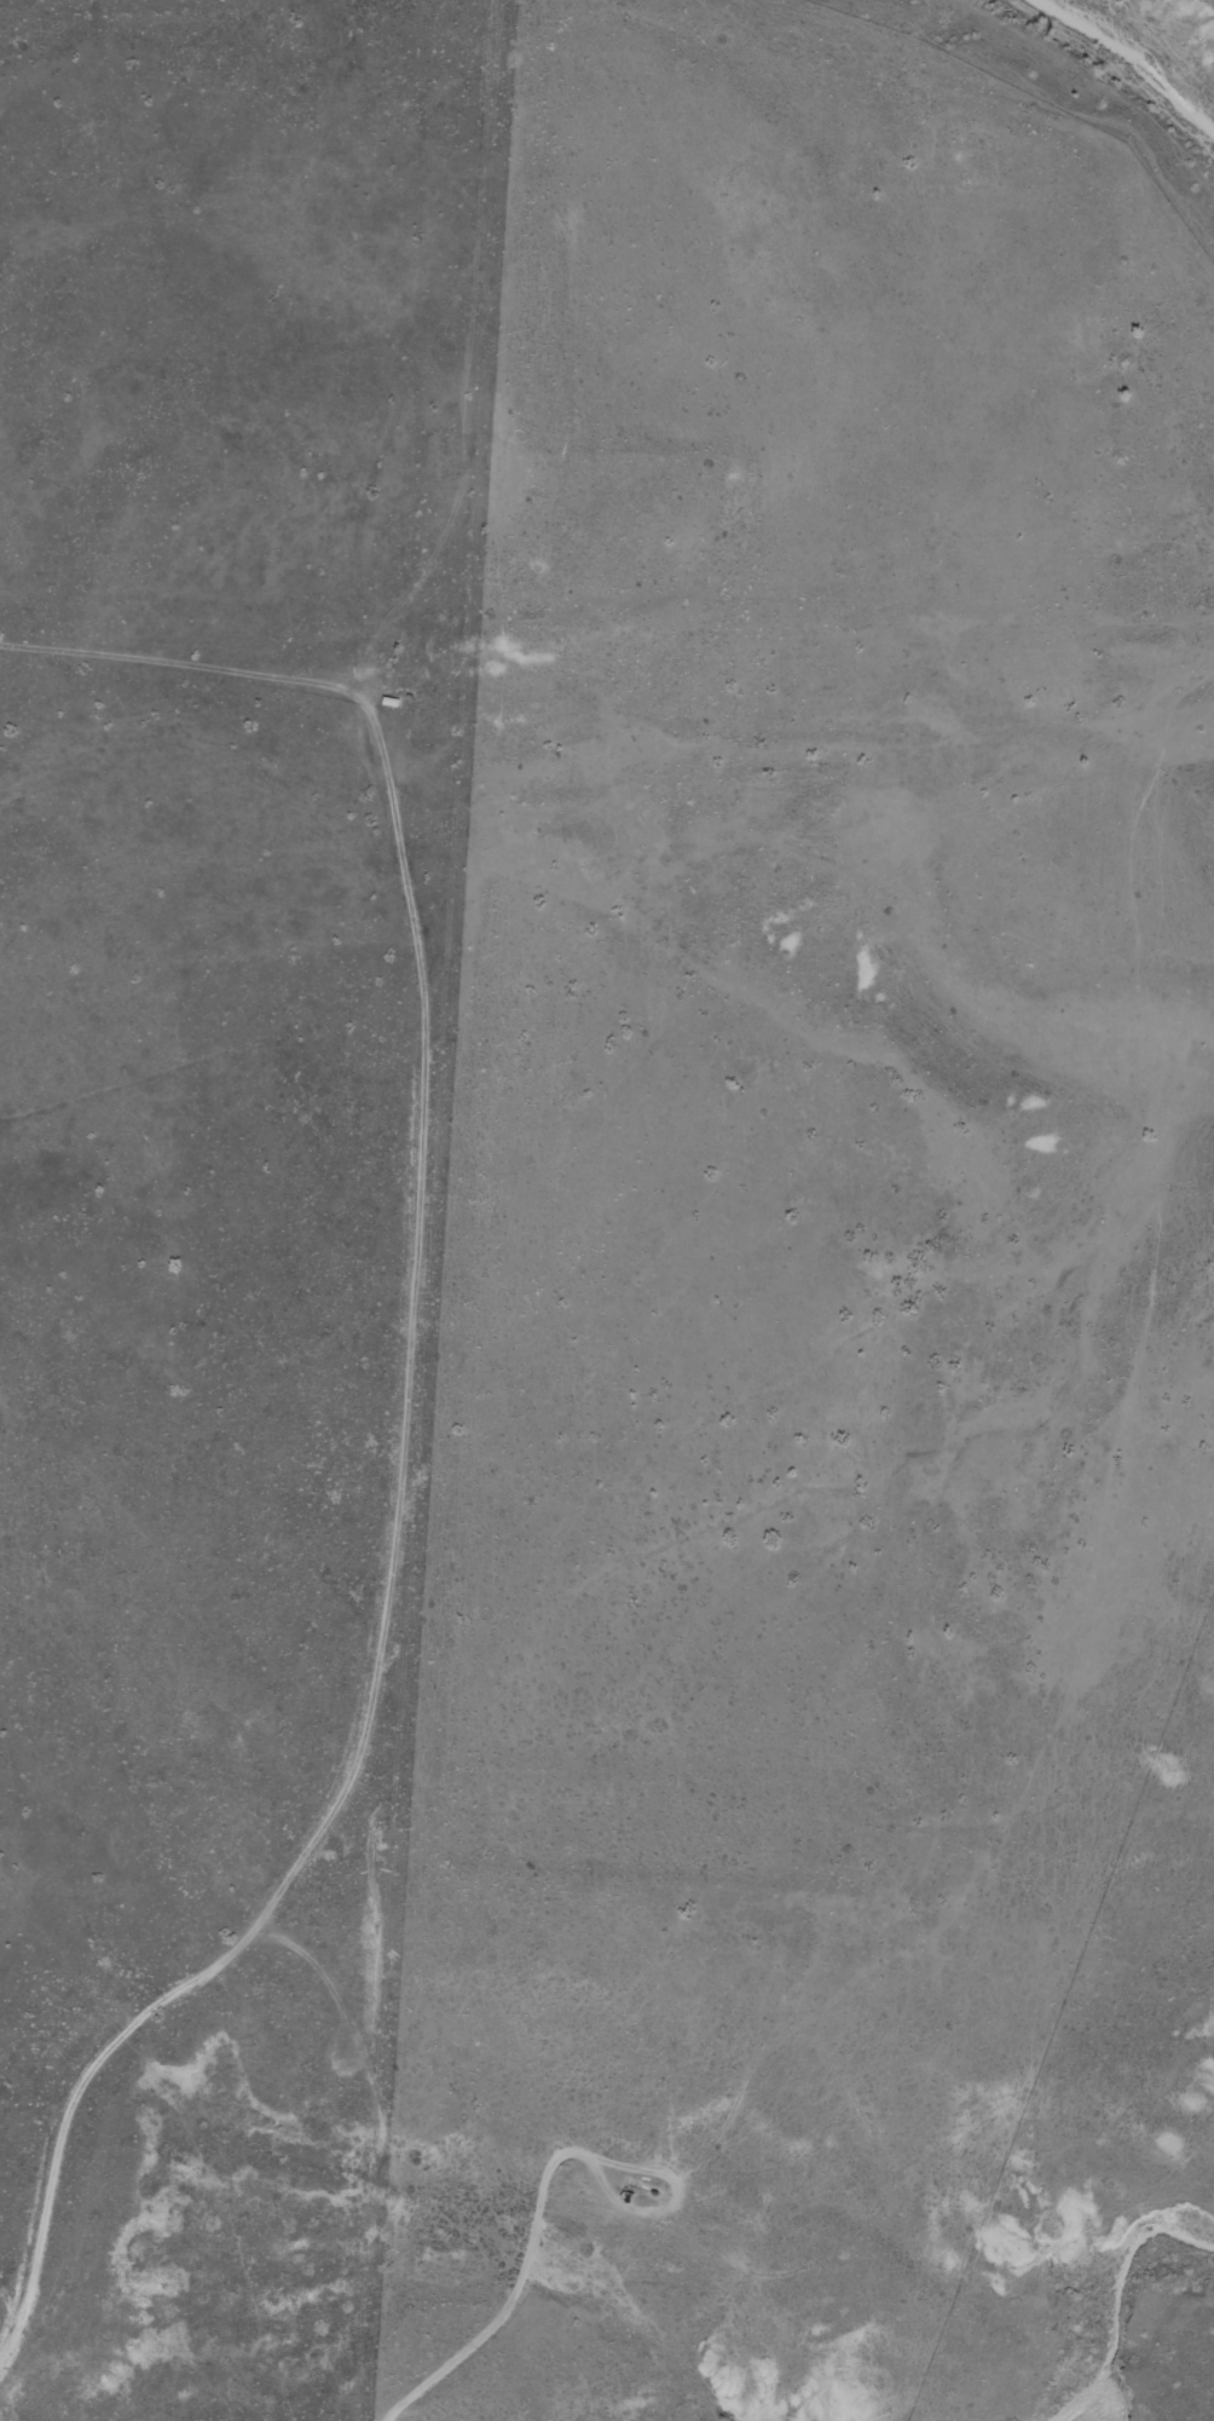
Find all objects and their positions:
river: (1131, 54)
road: (443, 1278)
road: (256, 1756)

